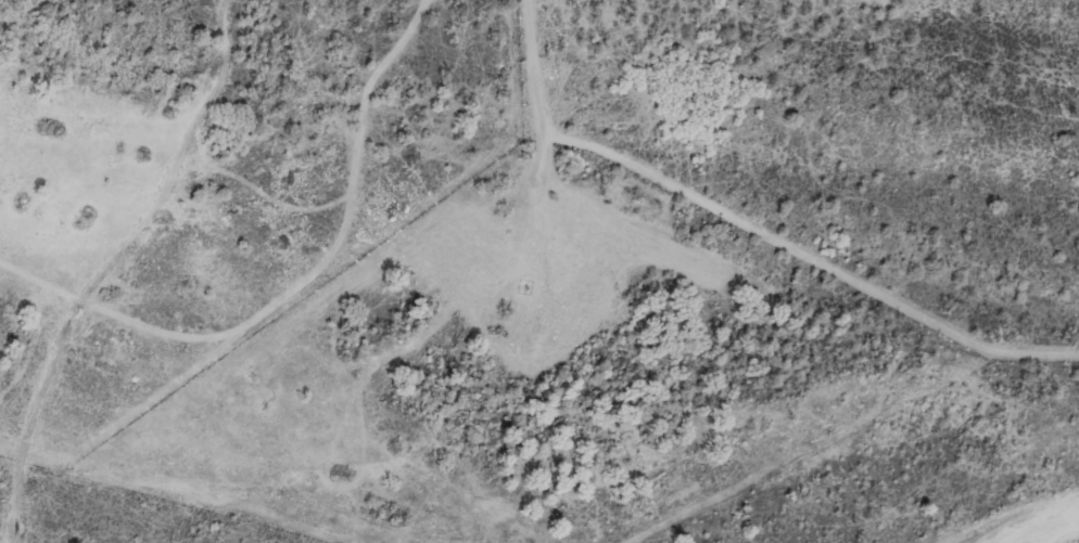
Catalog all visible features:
river: (1077, 541)

